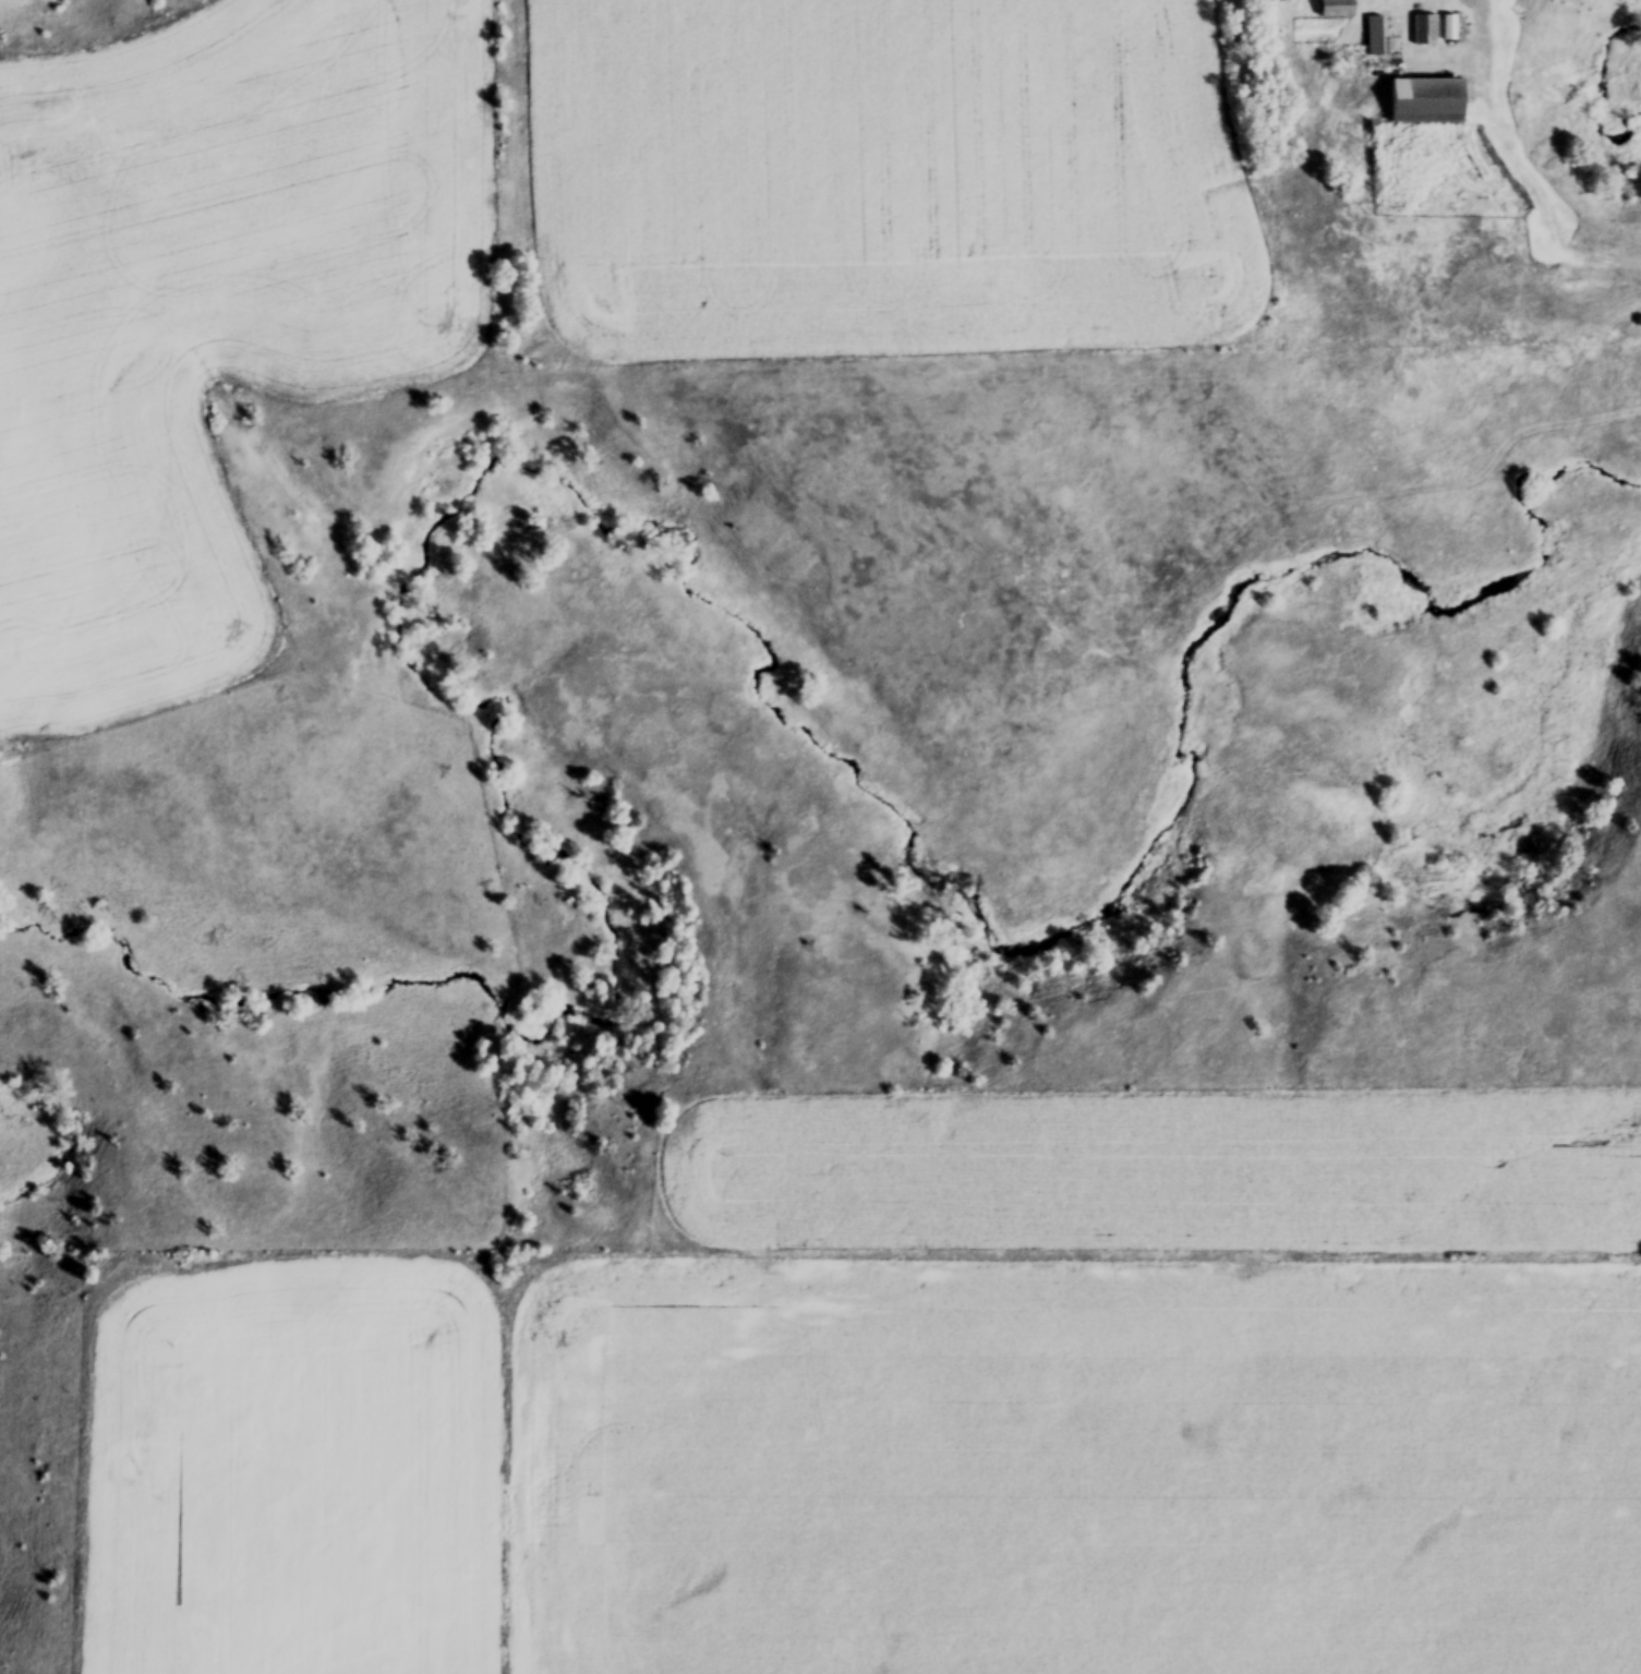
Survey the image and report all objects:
building: (1433, 31)
building: (1427, 103)

